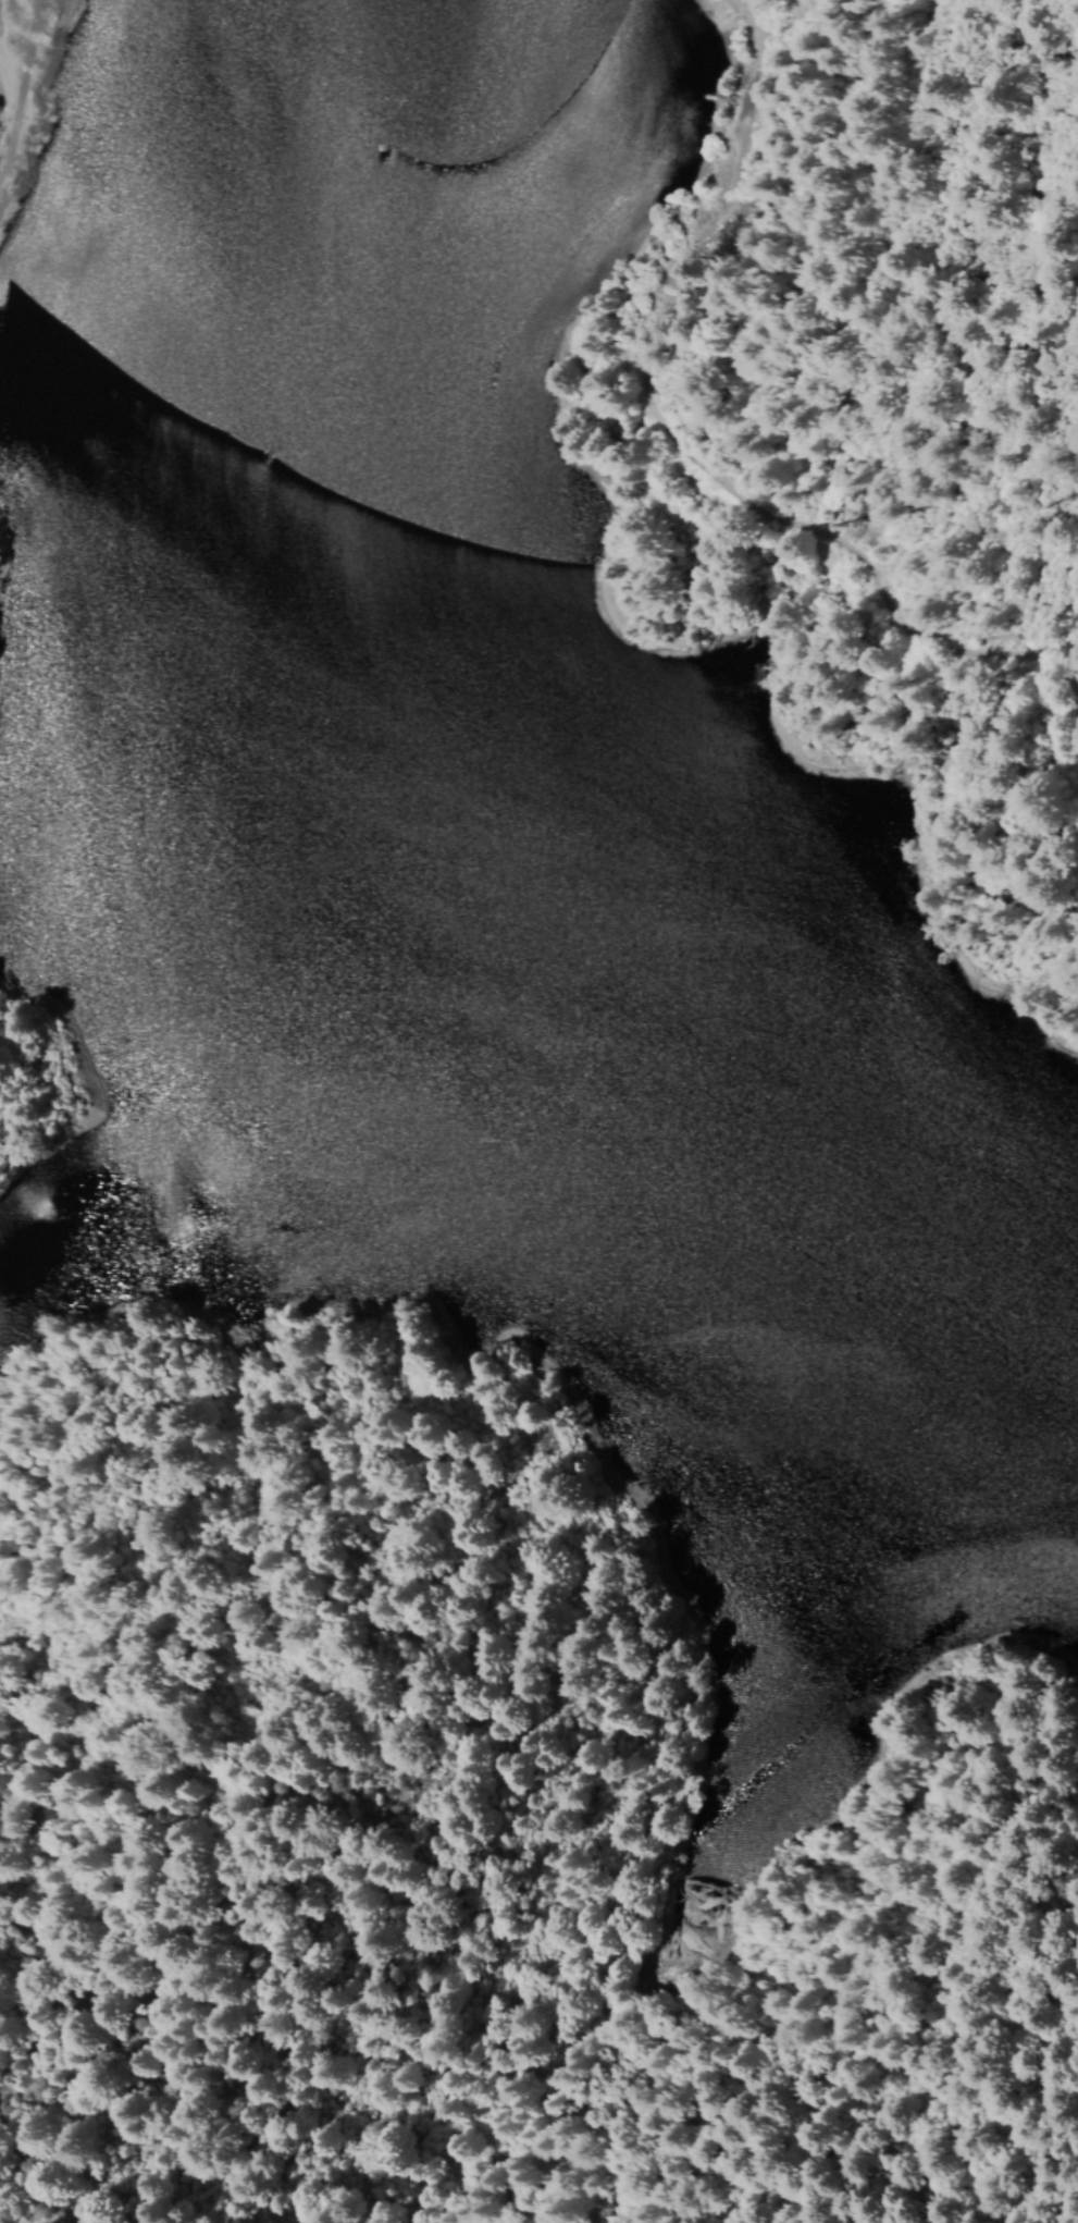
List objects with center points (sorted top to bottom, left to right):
dam: (42, 2)
dam: (11, 138)
road: (2, 157)
road: (701, 455)

